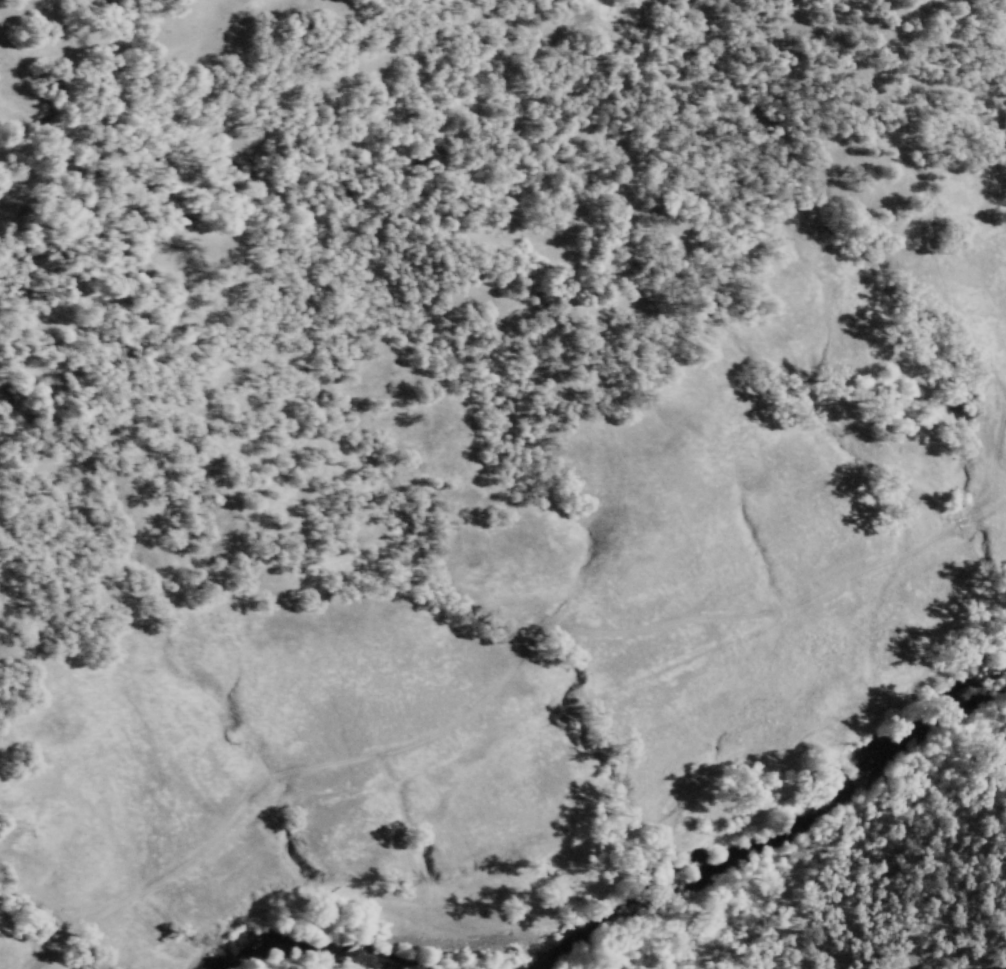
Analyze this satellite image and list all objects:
river: (772, 832)
river: (315, 943)

